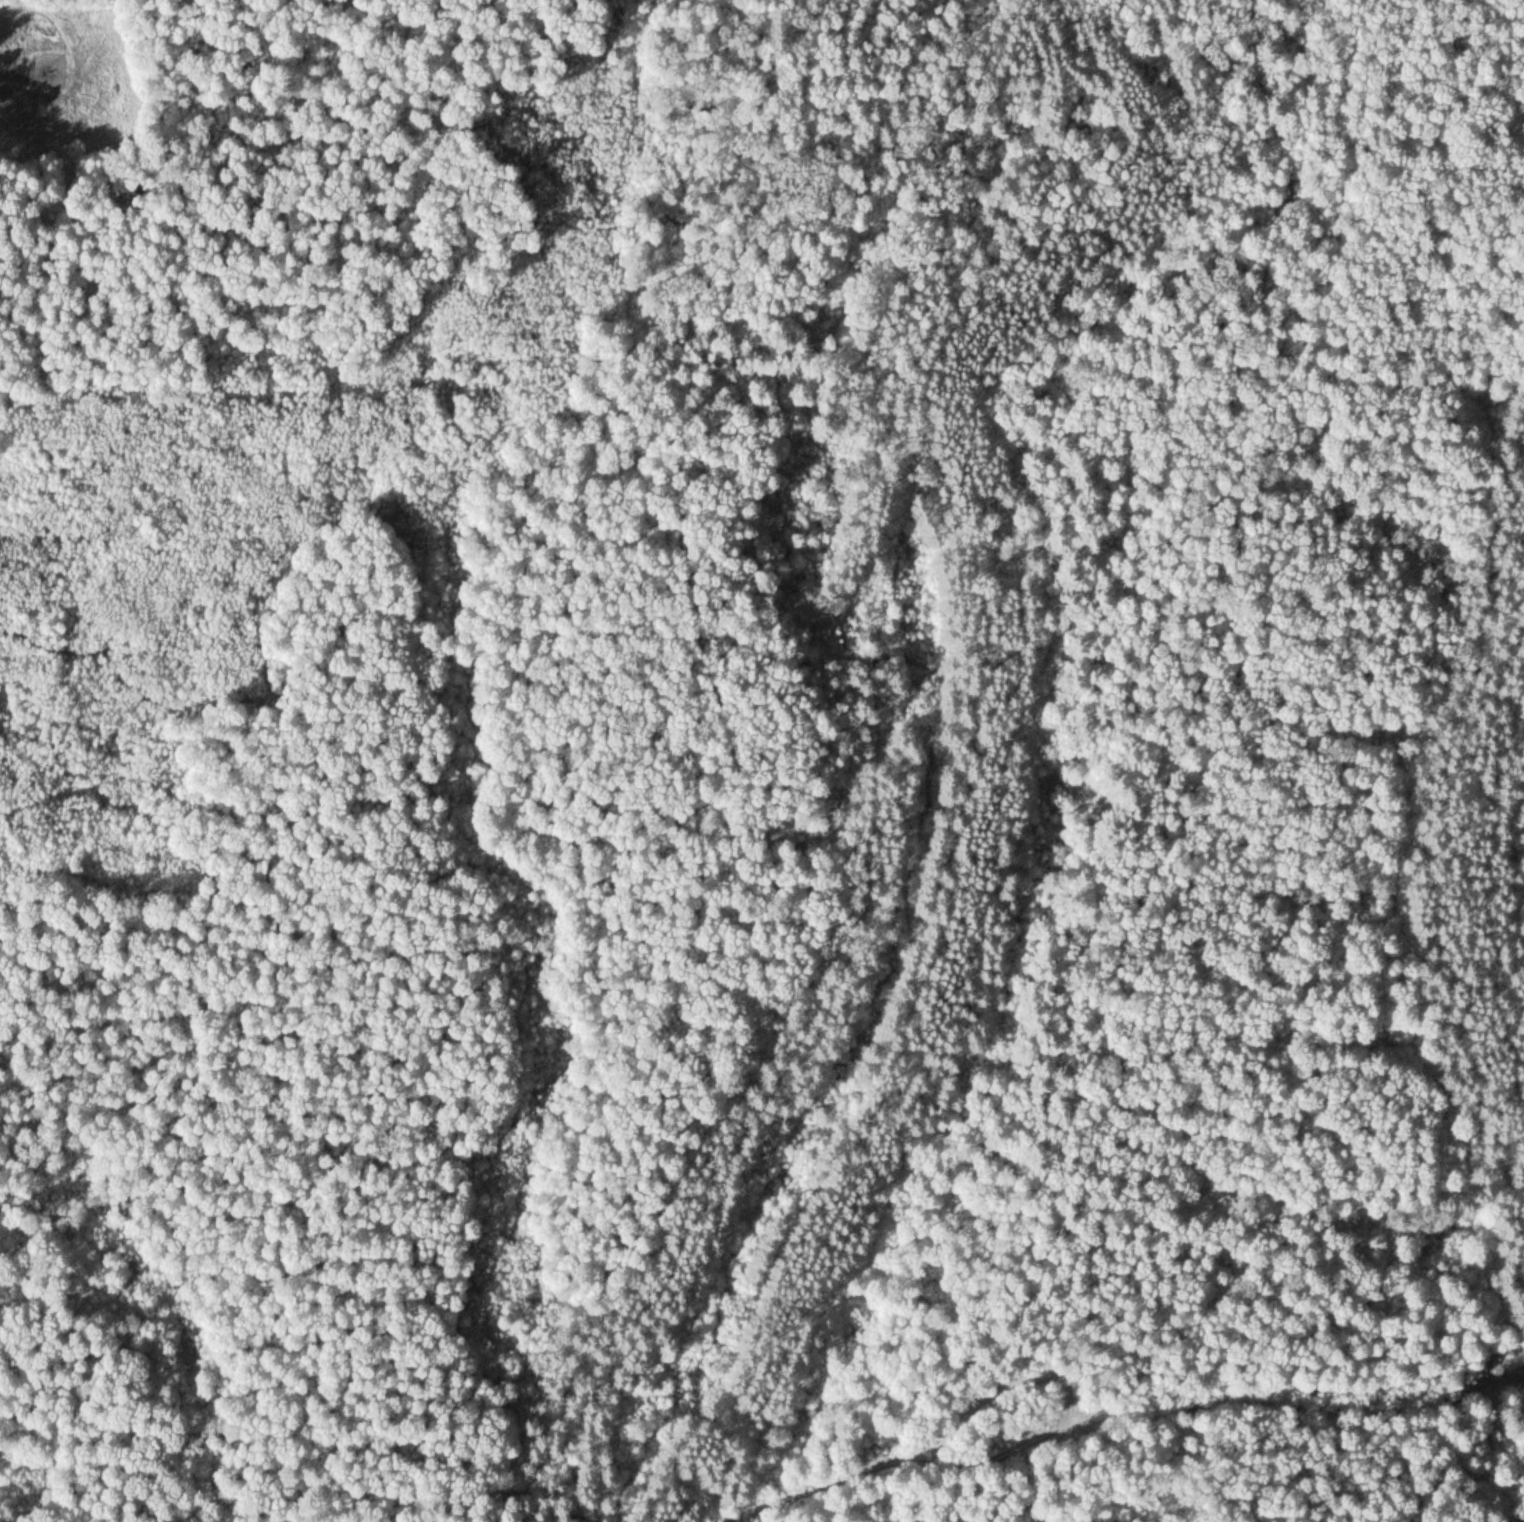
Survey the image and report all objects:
road: (1117, 1416)

